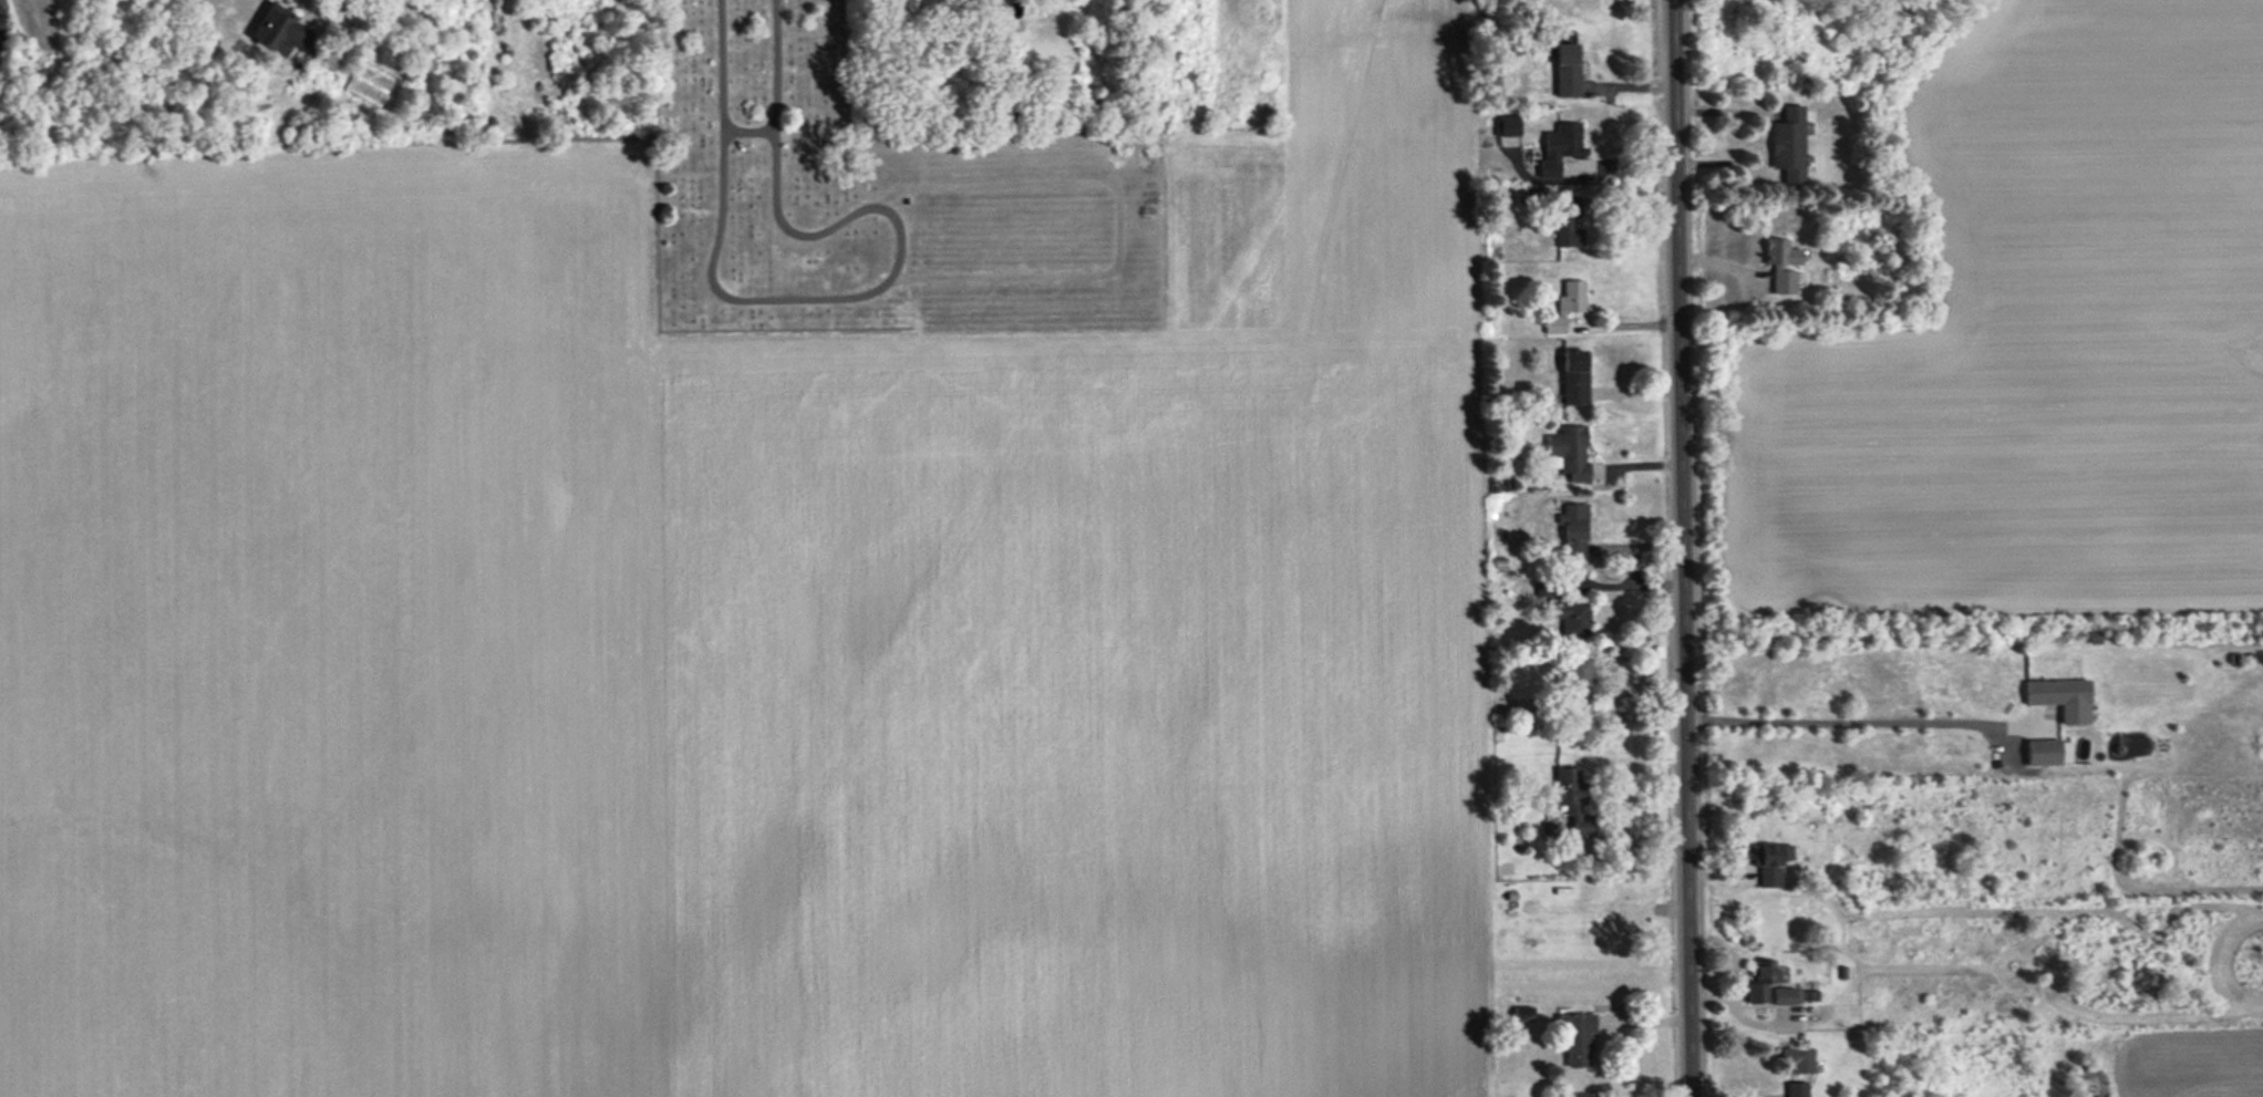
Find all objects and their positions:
building: (992, 2)
building: (279, 30)
building: (1565, 70)
building: (1508, 126)
building: (1788, 144)
building: (1560, 147)
park: (768, 177)
building: (1567, 221)
building: (1776, 267)
building: (1565, 306)
building: (1573, 377)
building: (1569, 452)
road: (1682, 548)
building: (1571, 618)
building: (1577, 680)
building: (2060, 697)
road: (1840, 720)
building: (2049, 752)
building: (1572, 800)
building: (1770, 862)
building: (1761, 981)
building: (1788, 995)
building: (1577, 1037)
building: (1798, 1059)
building: (1797, 1089)
building: (1582, 1095)

